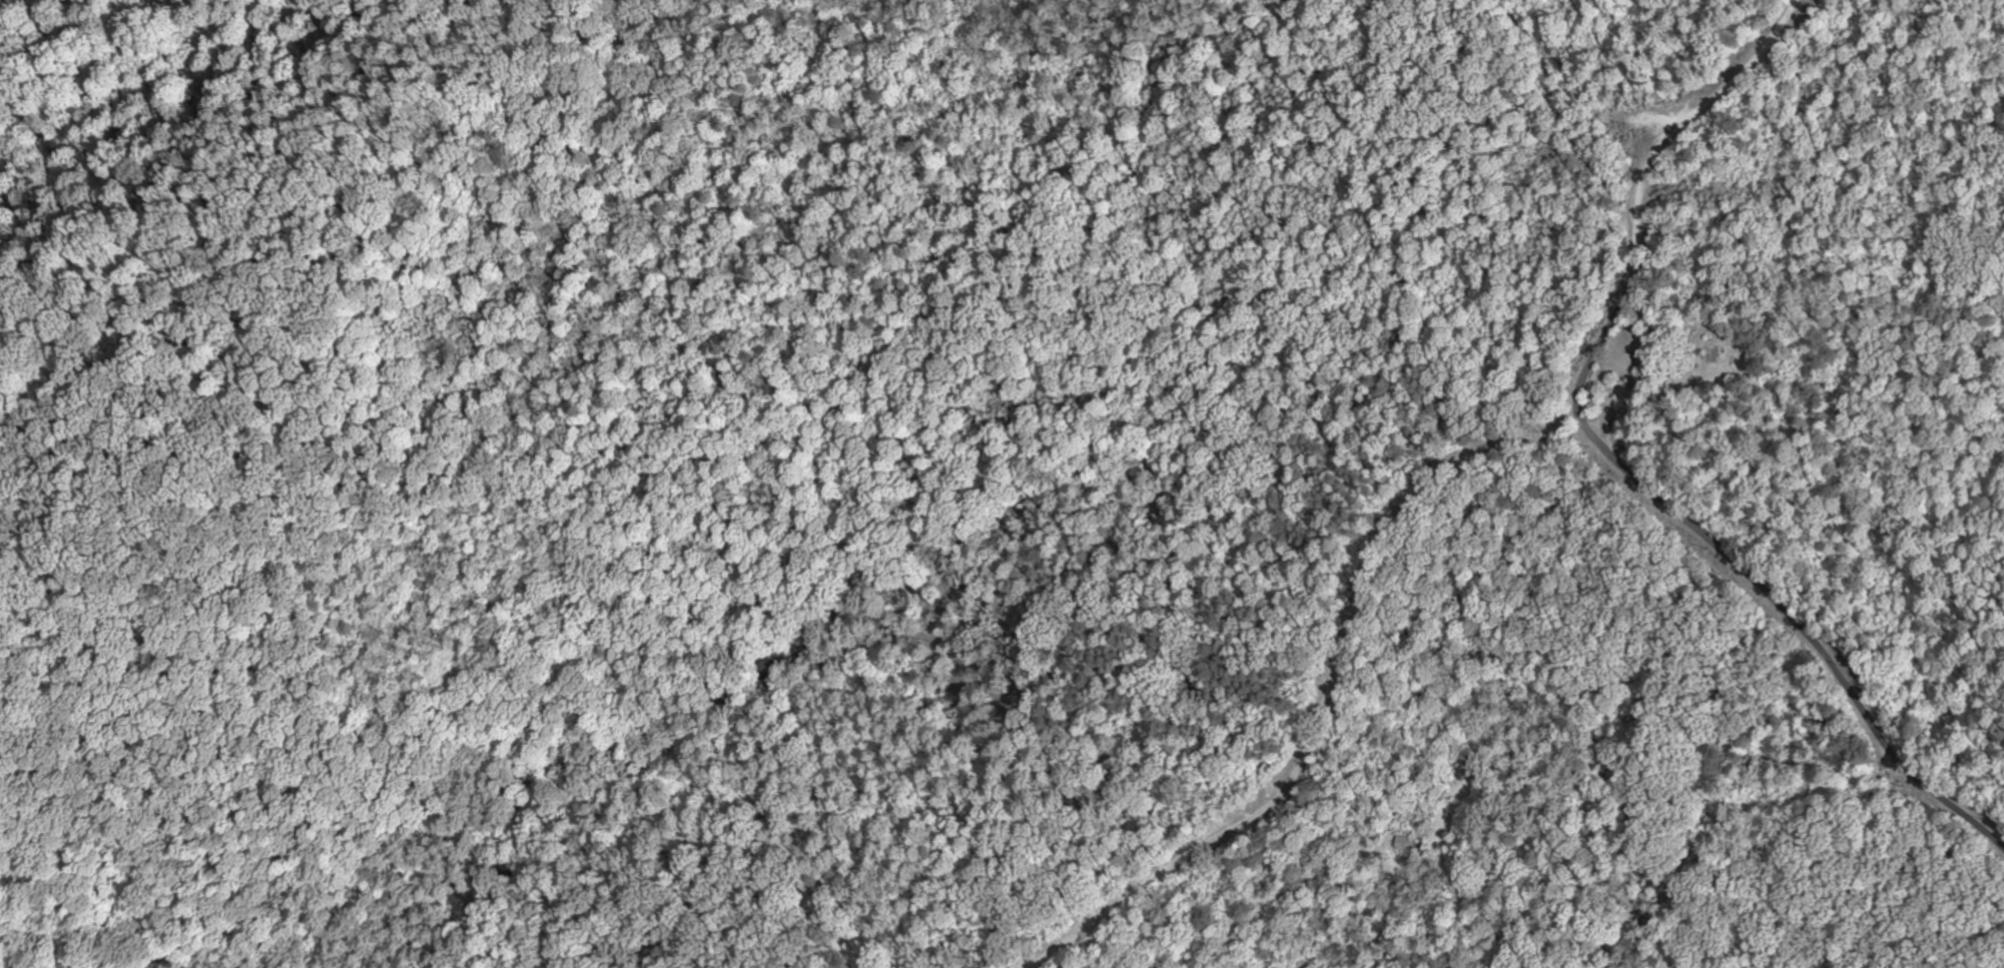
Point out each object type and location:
road: (1637, 184)
road: (1633, 373)
road: (1589, 430)
road: (1810, 639)

